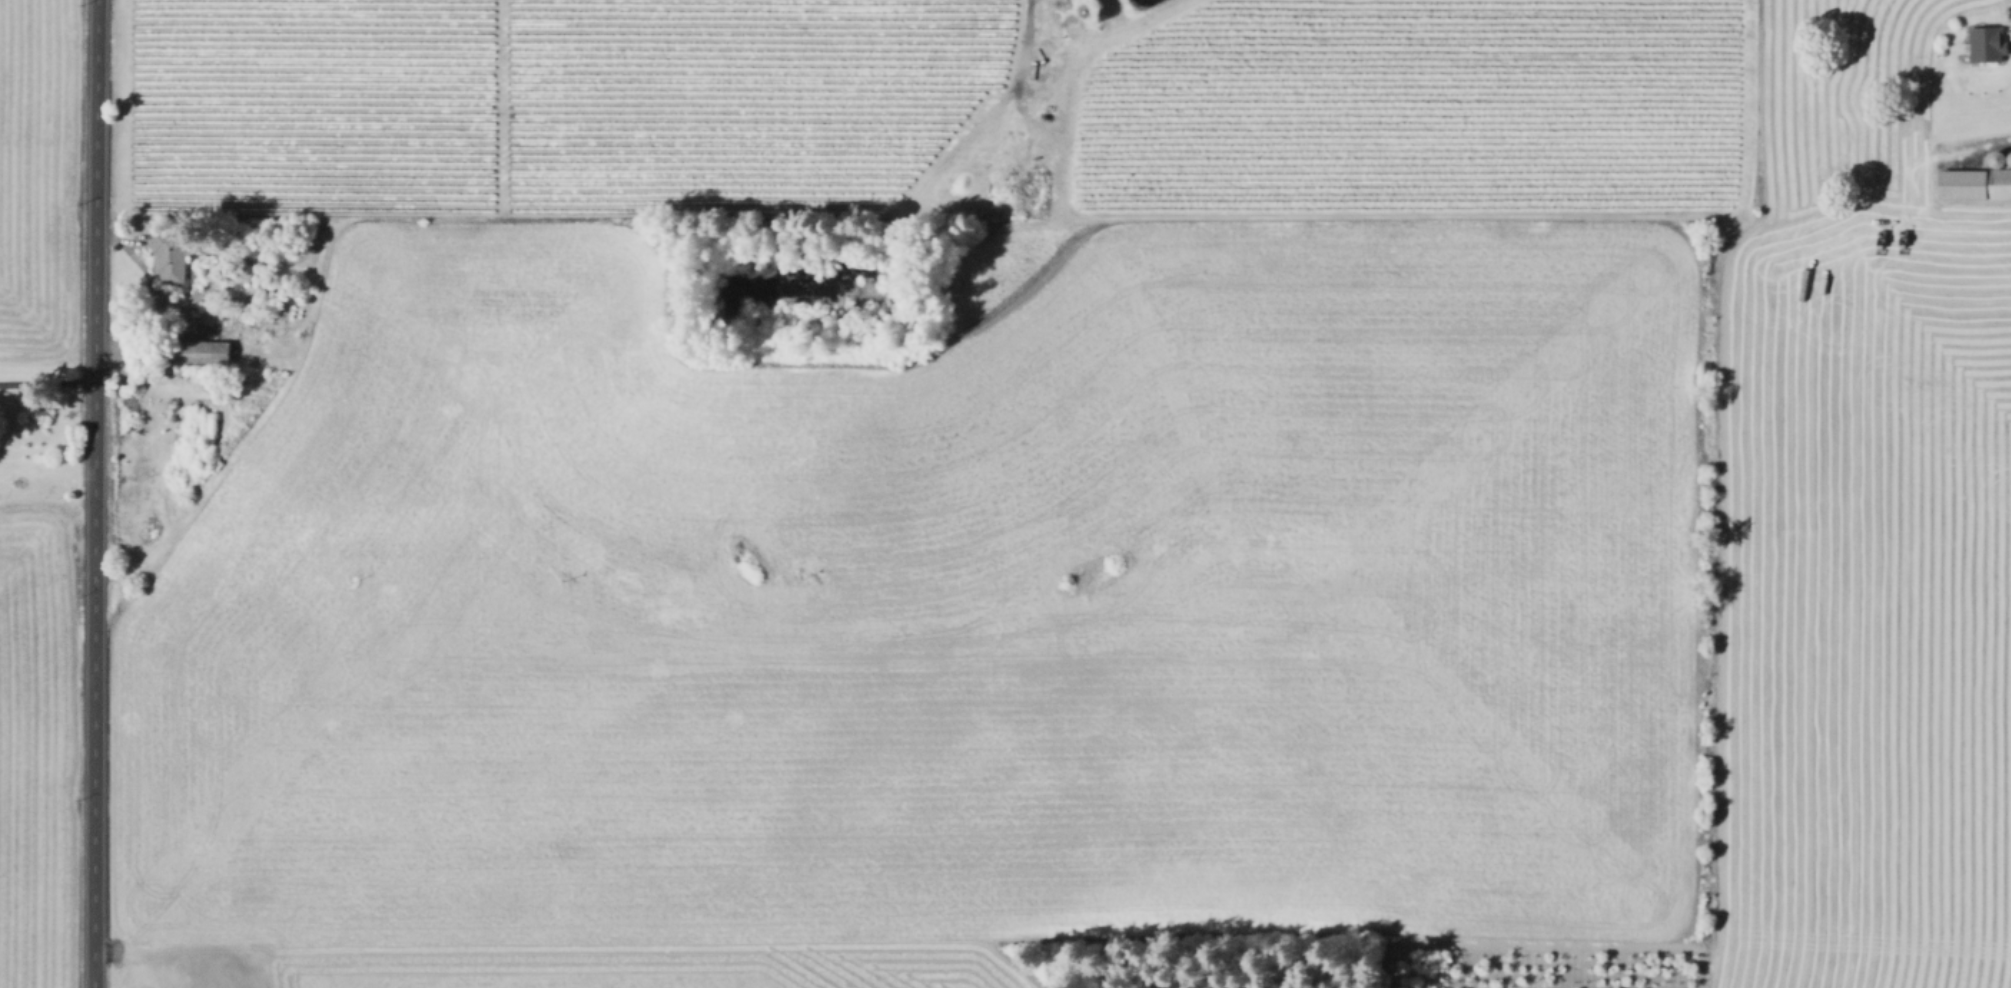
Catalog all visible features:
road: (1114, 35)
road: (1021, 77)
building: (1993, 160)
silo: (1993, 160)
building: (2007, 160)
silo: (2007, 160)
building: (1962, 184)
building: (2001, 184)
crop: (37, 186)
building: (172, 256)
building: (201, 352)
road: (48, 381)
crop: (938, 470)
road: (95, 493)
crop: (1862, 603)
crop: (37, 740)

